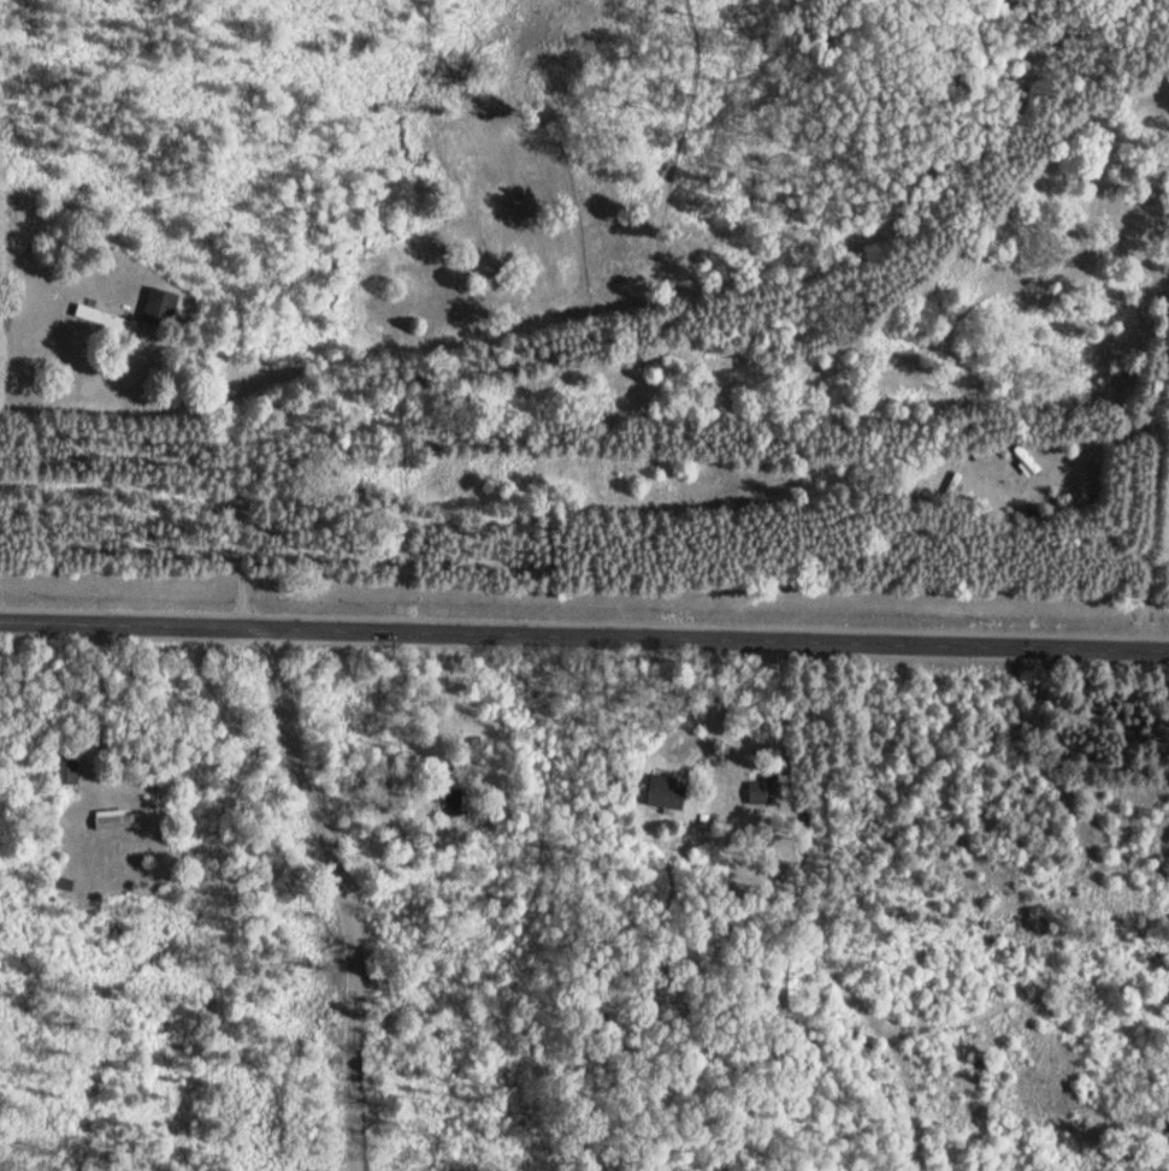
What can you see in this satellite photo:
building: (161, 306)
building: (106, 320)
road: (238, 474)
road: (584, 637)
building: (67, 768)
building: (379, 775)
building: (457, 788)
building: (667, 791)
building: (761, 792)
building: (122, 817)
road: (352, 892)

